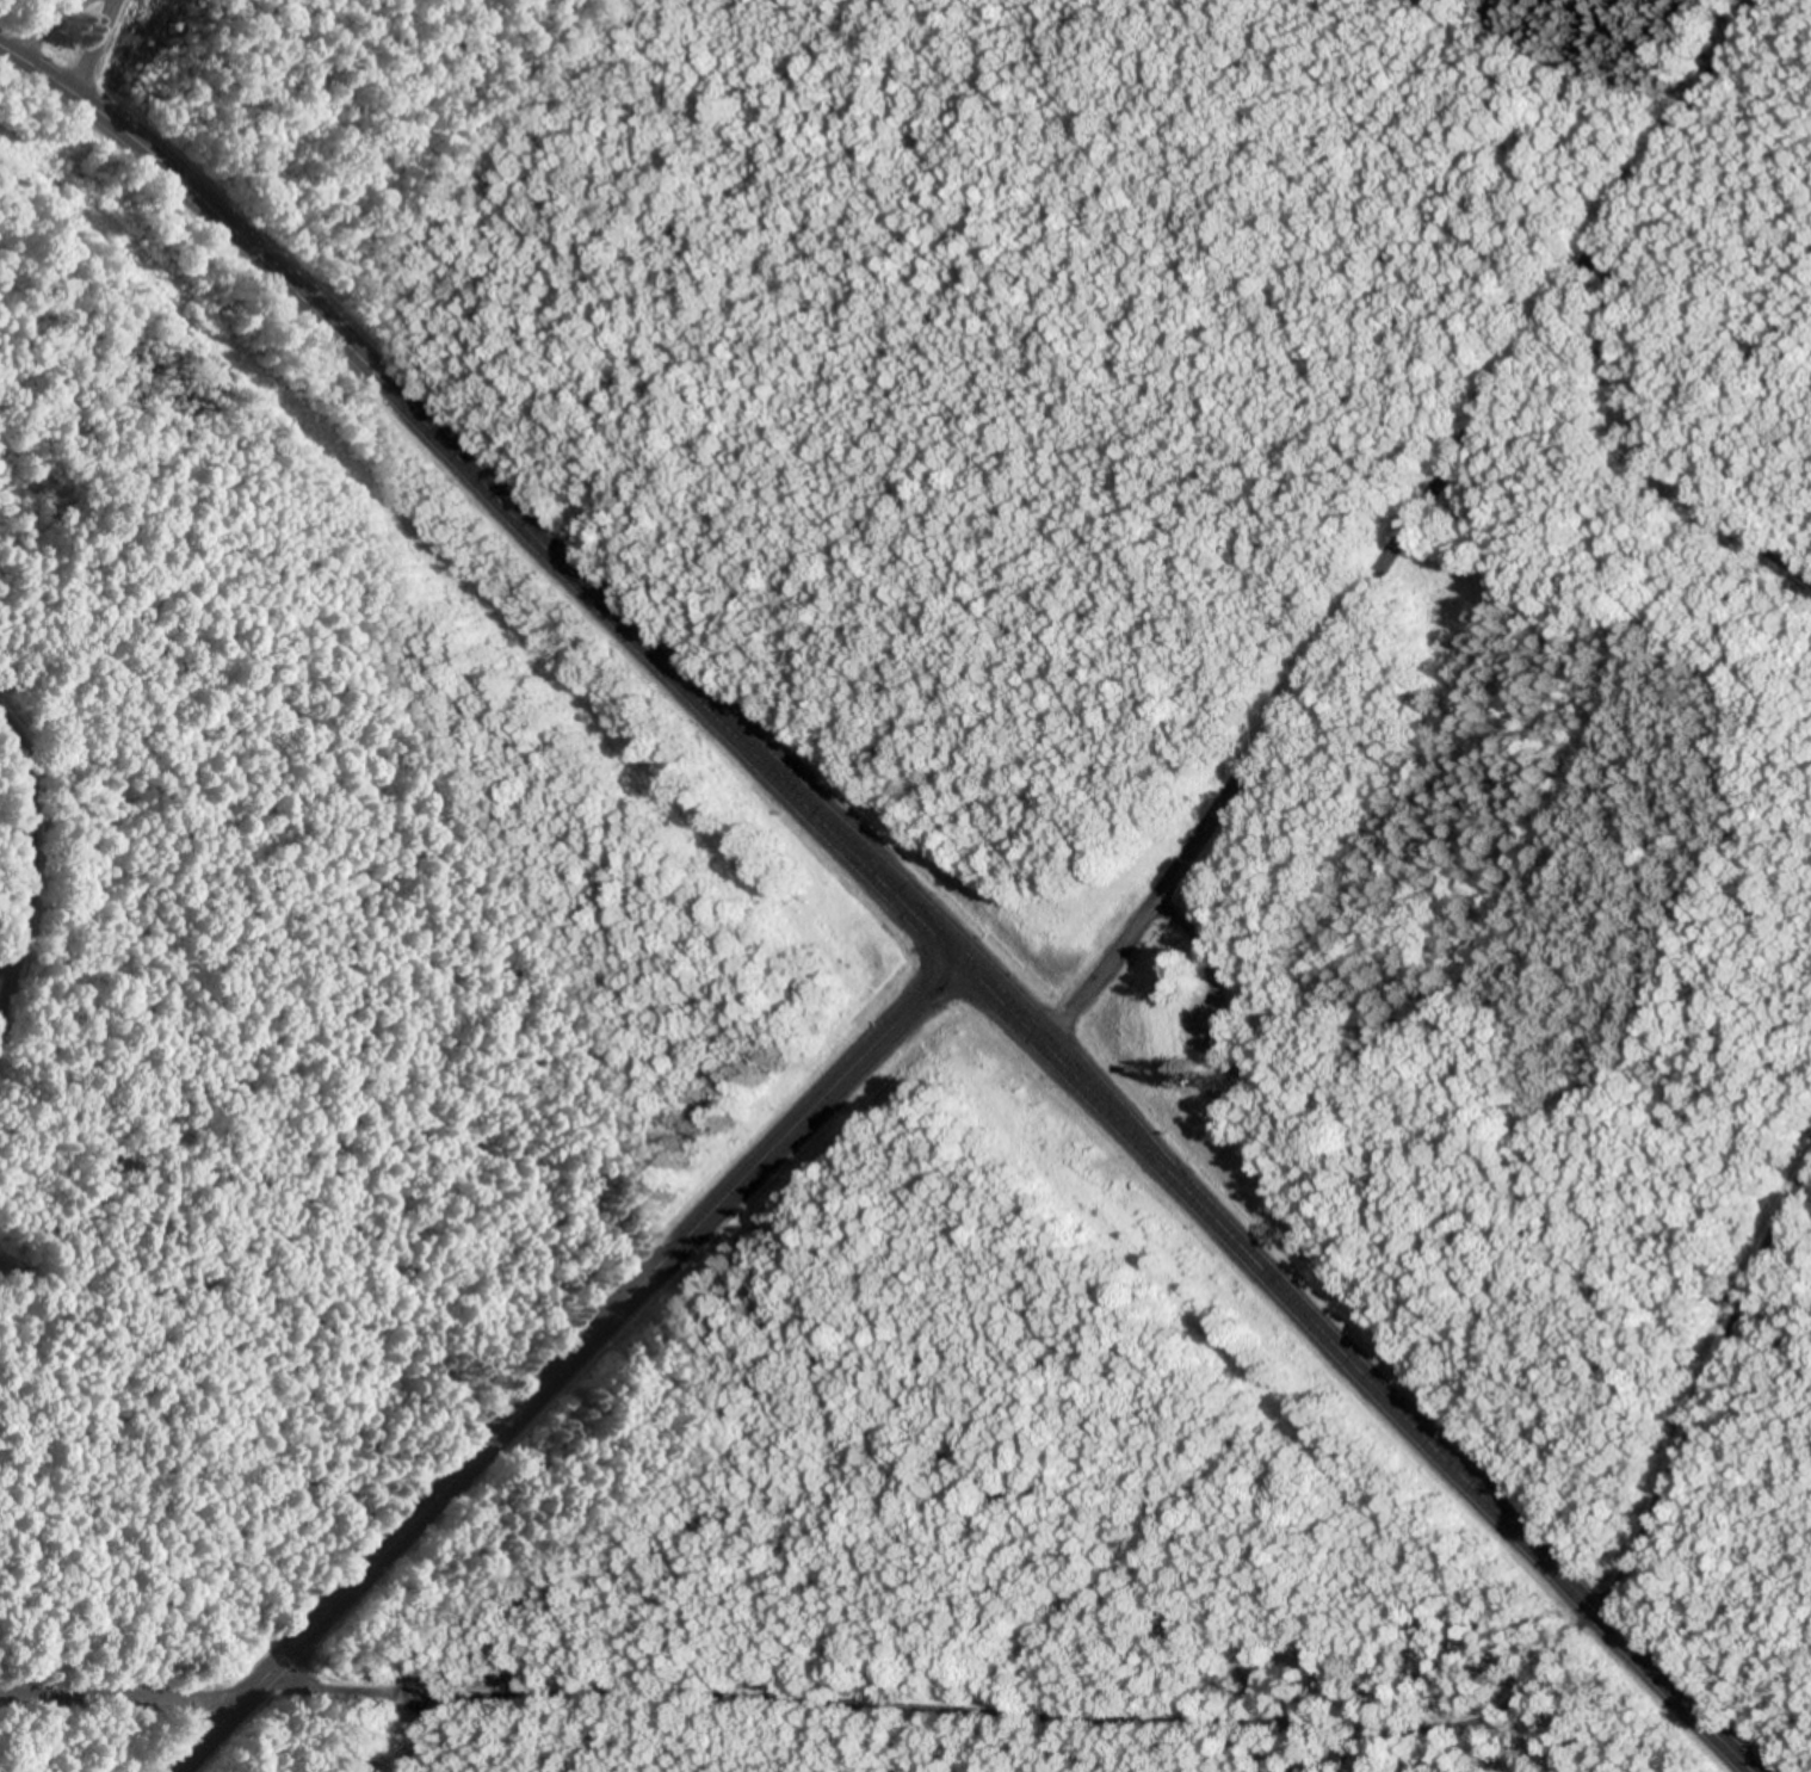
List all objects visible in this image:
road: (105, 50)
road: (162, 163)
road: (1415, 527)
road: (630, 630)
road: (1354, 1363)
road: (573, 1364)
road: (129, 1688)

